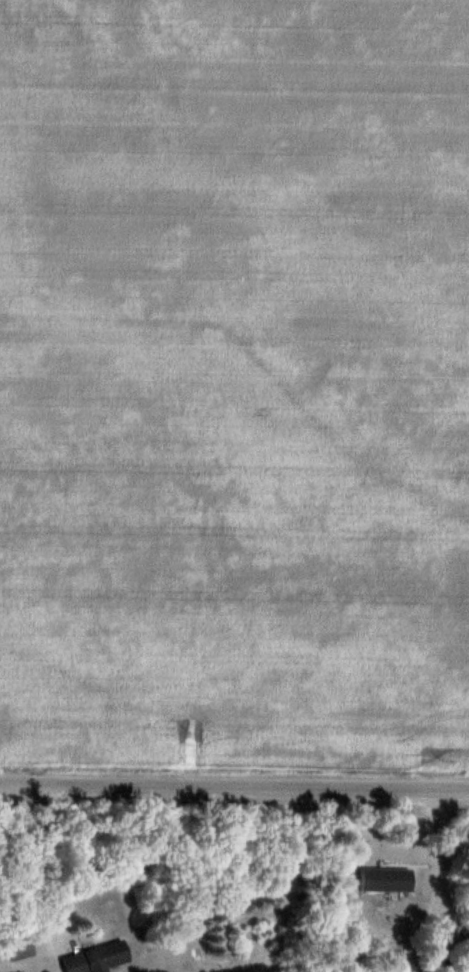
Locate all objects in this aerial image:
road: (234, 787)
building: (388, 879)
building: (23, 949)
building: (98, 958)

